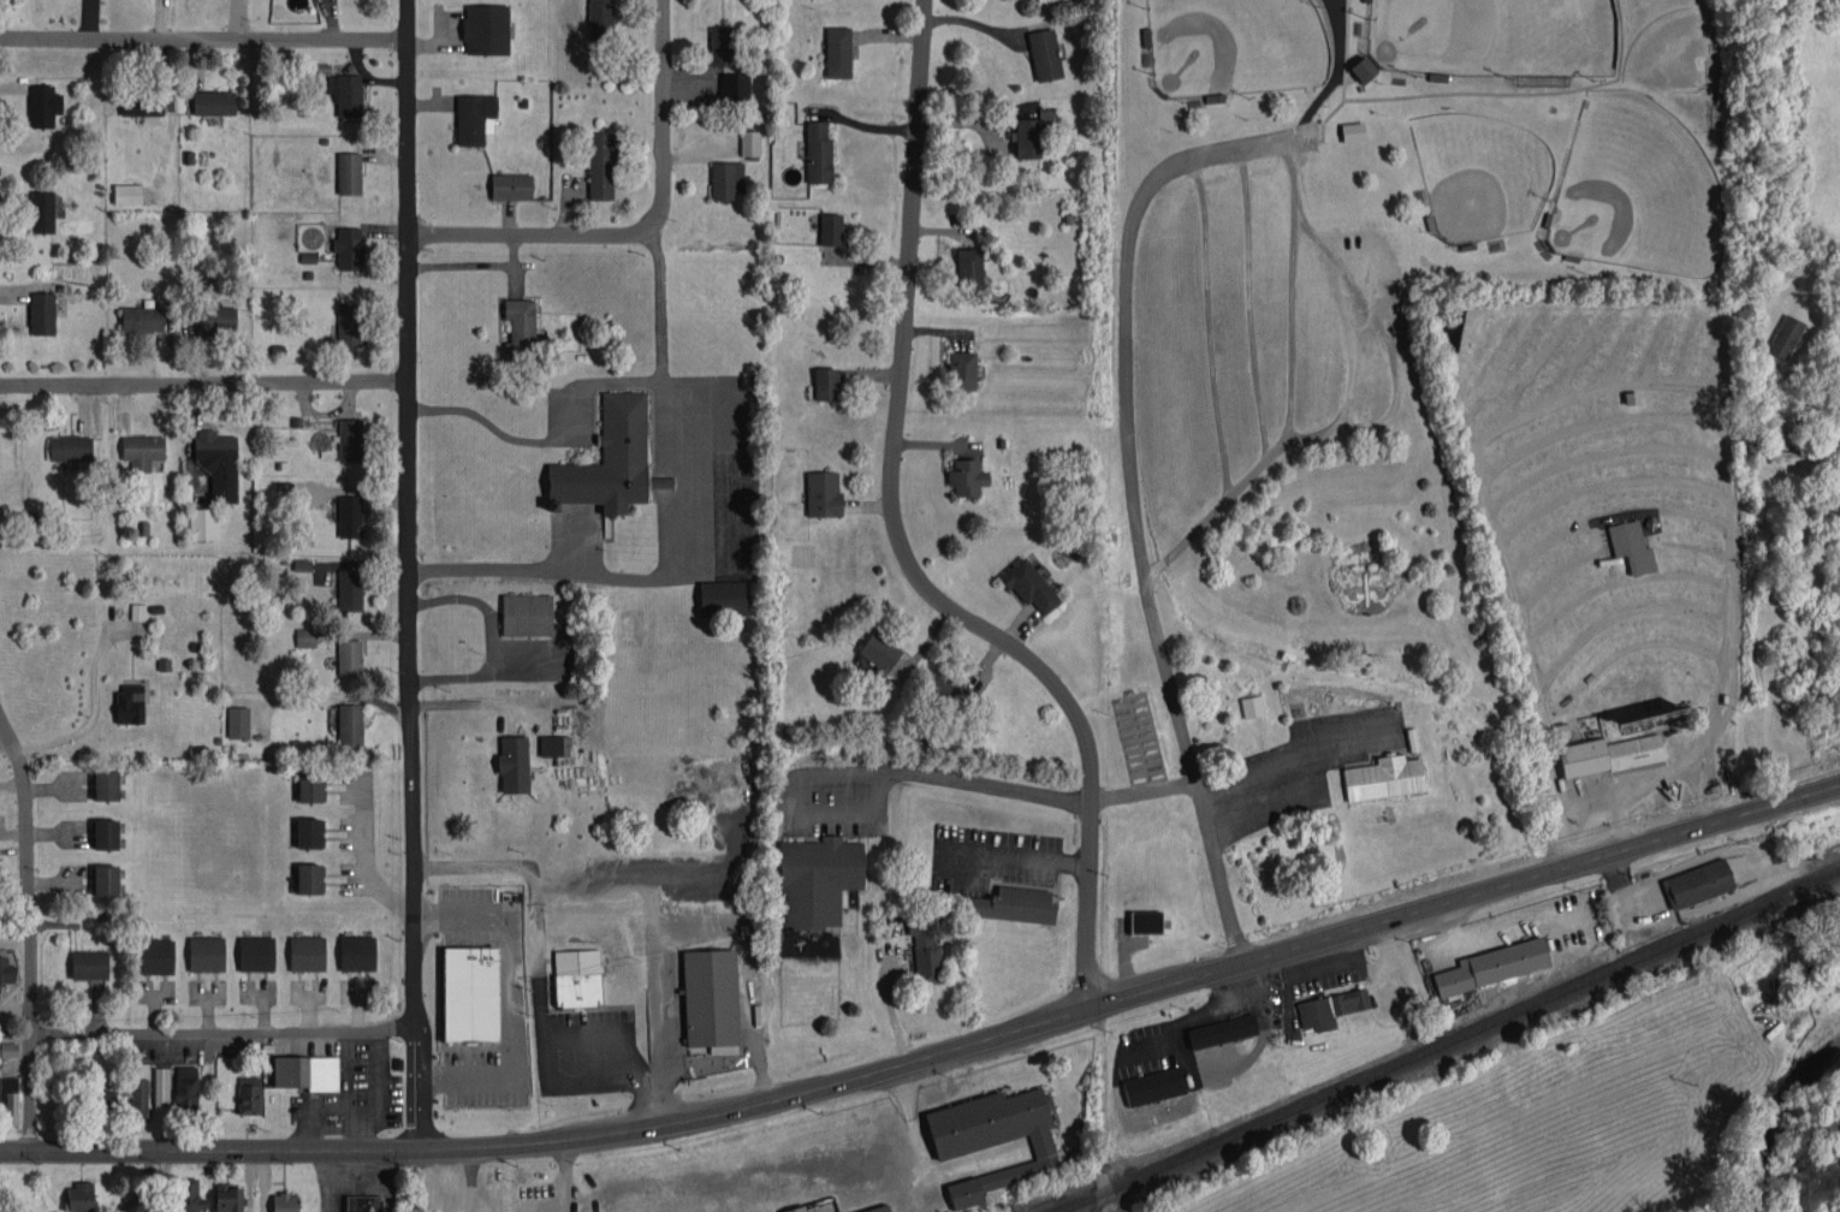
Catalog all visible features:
building: (600, 20)
building: (486, 29)
park: (1492, 35)
road: (203, 40)
building: (720, 46)
park: (1236, 46)
building: (837, 52)
building: (1044, 54)
building: (1363, 69)
road: (1331, 77)
building: (734, 88)
building: (346, 94)
building: (213, 102)
building: (141, 103)
building: (43, 105)
building: (473, 118)
building: (1352, 131)
building: (1032, 133)
building: (749, 143)
building: (818, 153)
building: (600, 166)
building: (349, 172)
building: (725, 179)
building: (511, 186)
park: (1638, 189)
building: (127, 194)
building: (42, 210)
building: (830, 228)
road: (645, 230)
building: (349, 248)
building: (969, 268)
road: (1248, 305)
building: (42, 313)
building: (142, 317)
building: (214, 320)
building: (349, 325)
building: (518, 328)
road: (1209, 328)
road: (1289, 329)
building: (1783, 337)
road: (1352, 357)
building: (961, 370)
road: (589, 381)
road: (203, 382)
building: (825, 384)
road: (1389, 412)
building: (350, 440)
building: (70, 447)
building: (142, 451)
building: (1798, 456)
building: (610, 461)
building: (218, 463)
building: (966, 477)
building: (823, 493)
road: (1135, 498)
building: (350, 516)
road: (737, 522)
building: (202, 523)
road: (902, 542)
building: (1632, 546)
building: (302, 564)
road: (487, 568)
road: (408, 574)
building: (1028, 586)
building: (350, 589)
building: (723, 598)
building: (137, 611)
building: (526, 614)
building: (305, 637)
building: (878, 652)
building: (349, 656)
building: (946, 688)
road: (474, 700)
building: (130, 703)
road: (93, 706)
building: (1252, 706)
building: (238, 721)
building: (349, 725)
building: (554, 745)
building: (1608, 754)
building: (514, 764)
building: (1384, 777)
road: (945, 778)
building: (106, 785)
building: (310, 786)
road: (1142, 789)
building: (309, 832)
building: (105, 833)
road: (366, 856)
road: (1013, 856)
road: (26, 873)
building: (309, 878)
building: (105, 879)
building: (817, 879)
building: (1698, 883)
building: (1014, 904)
building: (1145, 921)
road: (706, 929)
building: (925, 946)
building: (256, 952)
building: (307, 952)
building: (357, 952)
building: (206, 953)
building: (155, 956)
building: (89, 964)
building: (1492, 964)
building: (6, 970)
building: (577, 978)
building: (470, 993)
road: (511, 994)
building: (711, 999)
building: (1330, 1008)
road: (891, 1011)
road: (577, 1030)
building: (1222, 1030)
road: (222, 1032)
railway: (1453, 1036)
building: (8, 1048)
road: (933, 1054)
building: (305, 1071)
building: (1153, 1086)
building: (161, 1087)
building: (186, 1087)
road: (30, 1091)
building: (248, 1094)
building: (138, 1097)
building: (8, 1099)
building: (102, 1105)
building: (993, 1137)
road: (563, 1175)
road: (450, 1180)
building: (185, 1195)
building: (79, 1196)
building: (228, 1198)
building: (285, 1202)
building: (363, 1204)
building: (796, 1208)
building: (878, 1208)

